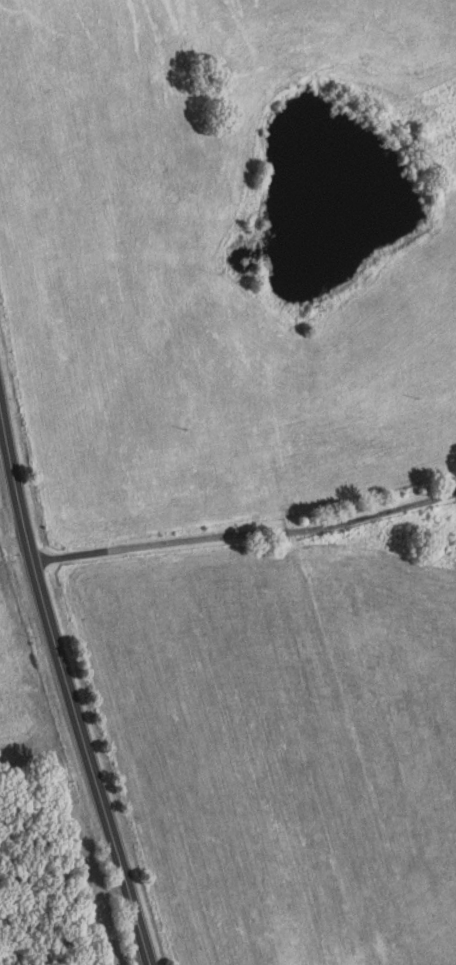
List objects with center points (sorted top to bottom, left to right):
road: (72, 687)

